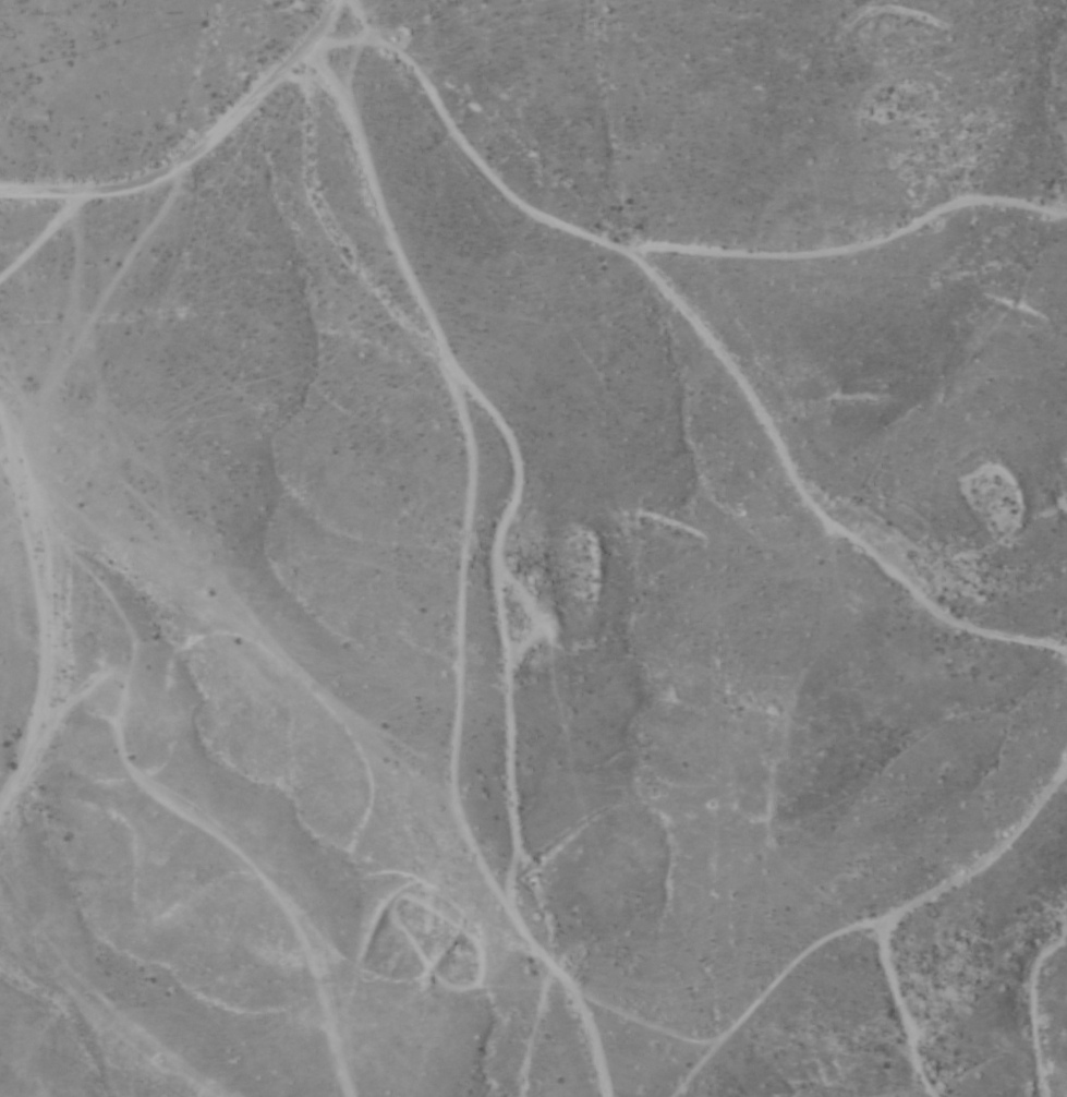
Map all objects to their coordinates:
road: (235, 53)
road: (206, 131)
road: (668, 272)
road: (832, 522)

